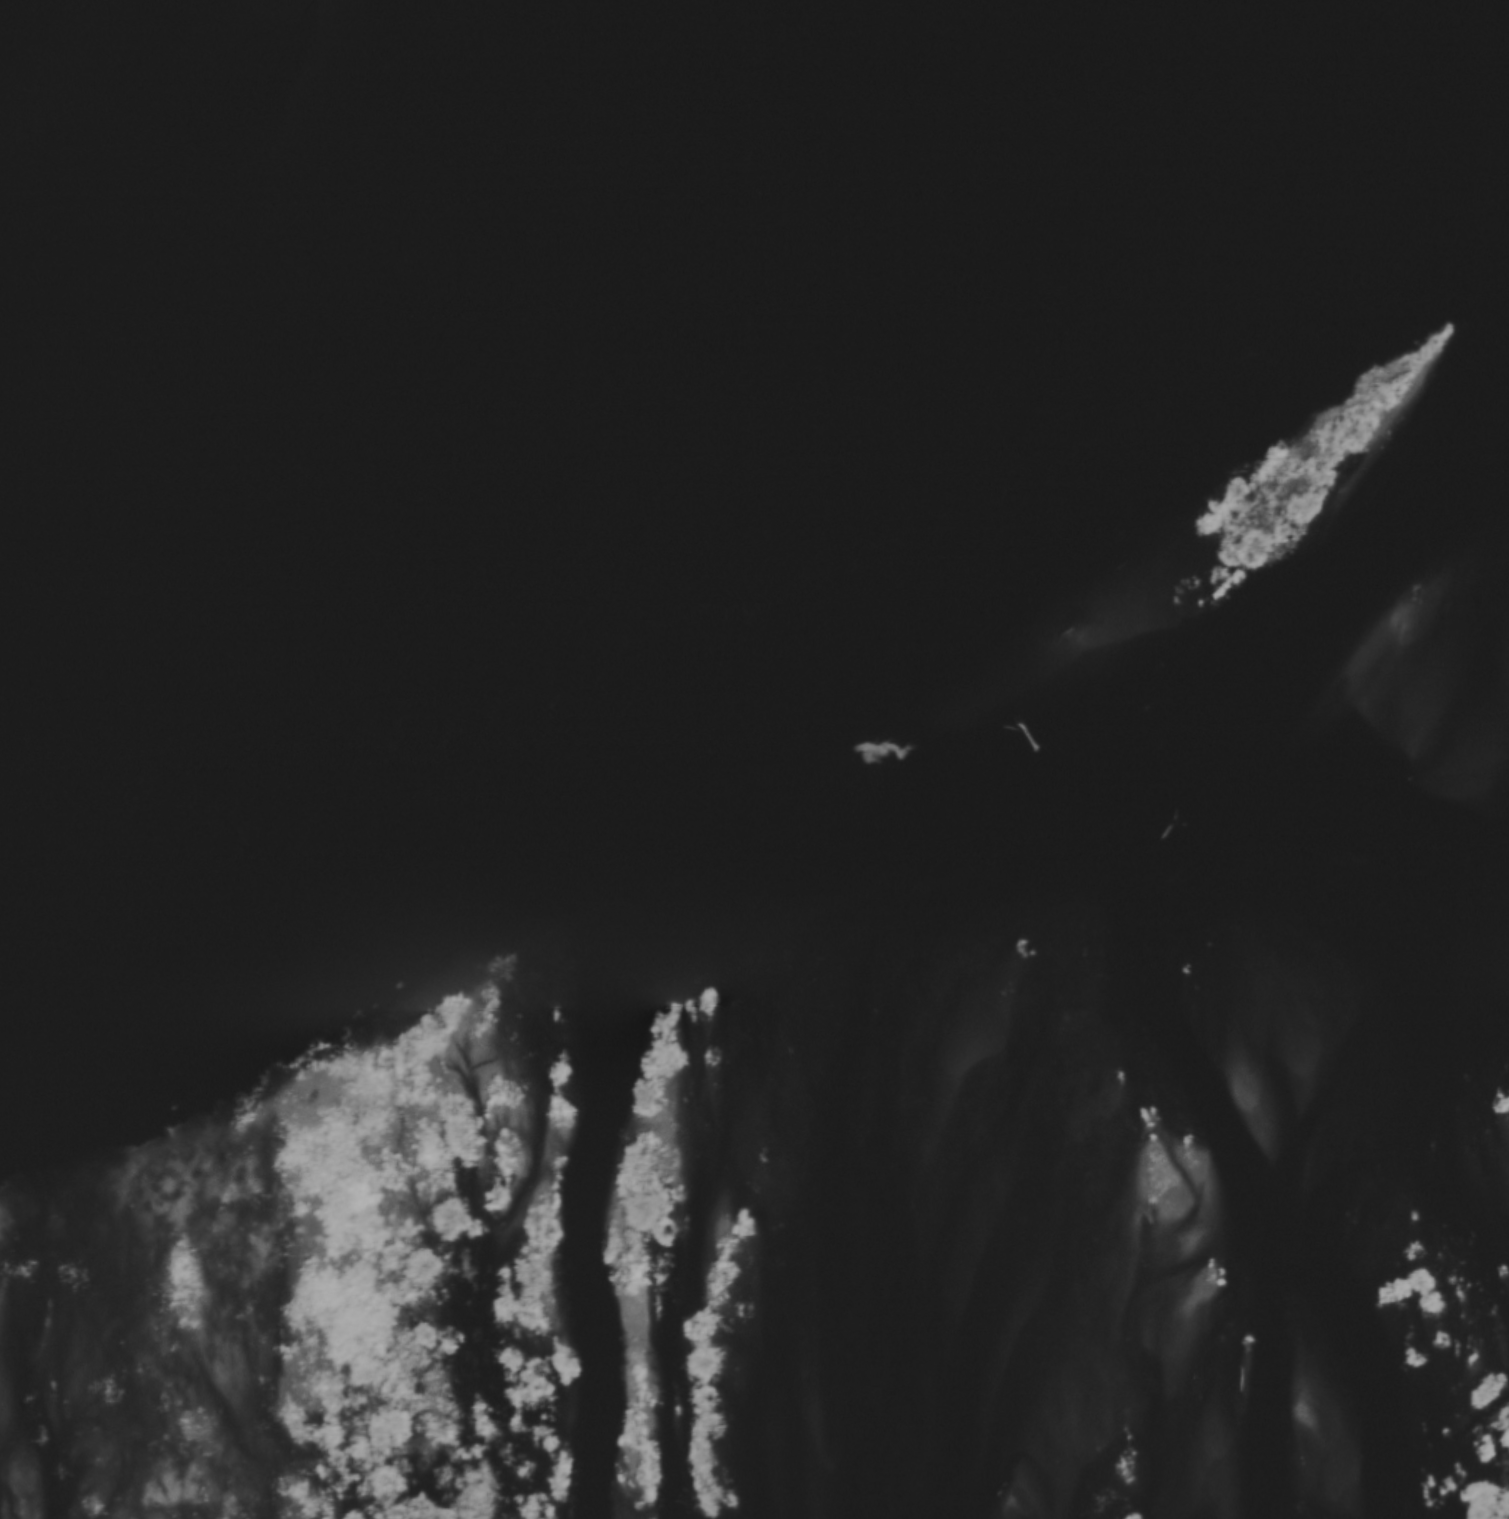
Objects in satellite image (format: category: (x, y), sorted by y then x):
river: (325, 710)

